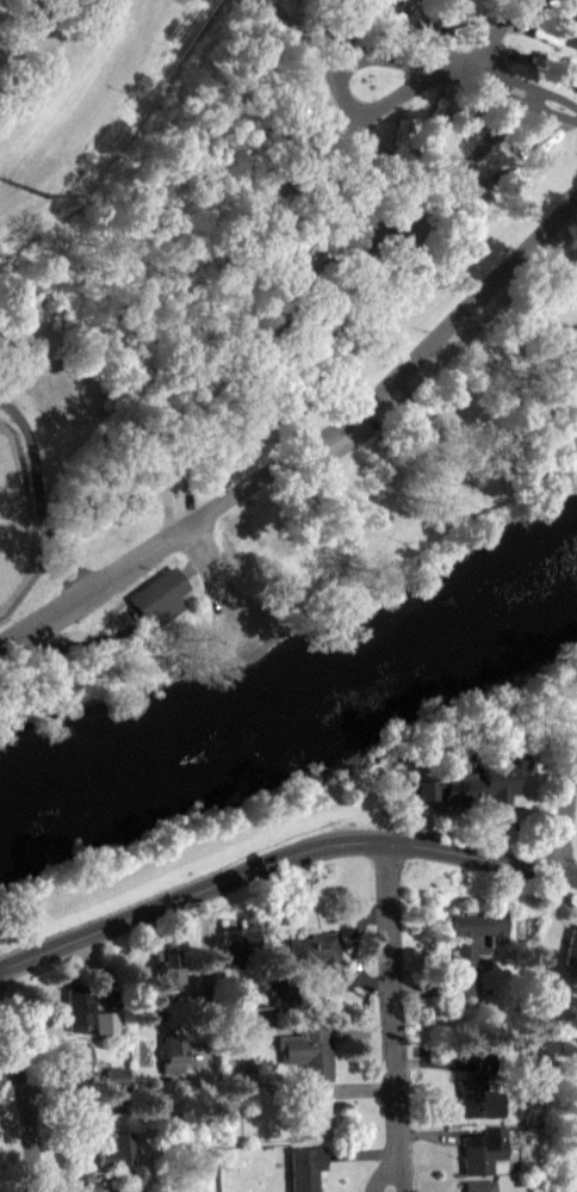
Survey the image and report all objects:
building: (397, 27)
road: (496, 38)
road: (452, 70)
building: (401, 134)
park: (365, 141)
power tower: (44, 194)
park: (280, 308)
road: (305, 447)
road: (39, 492)
park: (10, 525)
road: (219, 587)
building: (156, 591)
river: (298, 721)
road: (539, 778)
building: (473, 783)
road: (563, 807)
road: (426, 823)
road: (281, 858)
road: (354, 938)
building: (471, 941)
building: (234, 943)
building: (314, 947)
building: (570, 947)
building: (165, 968)
road: (206, 975)
road: (422, 986)
road: (339, 990)
road: (391, 990)
building: (278, 1002)
building: (76, 1006)
building: (101, 1023)
road: (359, 1032)
building: (172, 1051)
building: (308, 1051)
building: (76, 1060)
road: (433, 1061)
building: (116, 1075)
road: (64, 1083)
road: (361, 1088)
building: (478, 1089)
road: (67, 1101)
building: (117, 1101)
road: (26, 1104)
building: (312, 1110)
road: (14, 1118)
road: (434, 1131)
building: (117, 1149)
building: (482, 1149)
road: (360, 1151)
road: (383, 1166)
road: (399, 1166)
building: (304, 1167)
building: (83, 1182)
building: (123, 1190)
building: (478, 1190)

